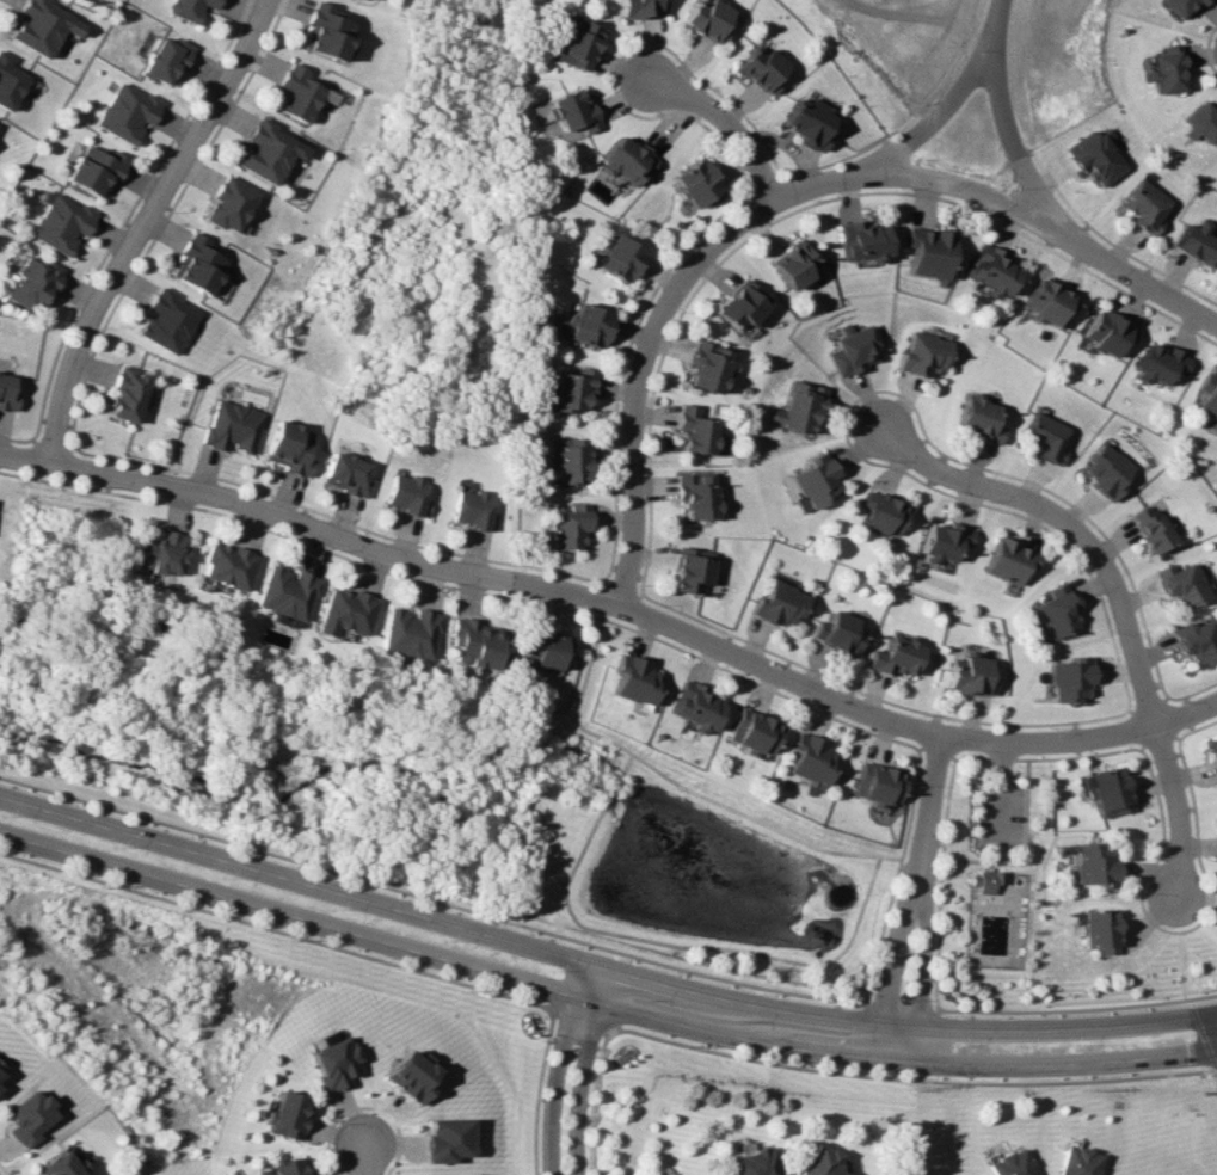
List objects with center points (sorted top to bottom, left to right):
building: (1182, 6)
building: (639, 7)
building: (188, 8)
building: (708, 19)
building: (42, 25)
building: (324, 31)
building: (574, 43)
building: (165, 61)
building: (760, 68)
building: (1166, 69)
building: (8, 82)
road: (952, 91)
building: (295, 93)
building: (568, 110)
building: (125, 112)
road: (997, 113)
building: (806, 122)
building: (1203, 122)
road: (729, 131)
building: (266, 152)
building: (1094, 156)
building: (625, 160)
building: (93, 168)
building: (695, 184)
building: (227, 204)
building: (1144, 207)
road: (1047, 222)
building: (60, 223)
road: (152, 229)
building: (860, 241)
building: (1198, 242)
building: (928, 251)
building: (196, 265)
building: (791, 265)
building: (990, 270)
building: (32, 283)
building: (1049, 302)
building: (739, 304)
road: (670, 312)
building: (164, 321)
building: (585, 325)
building: (1106, 332)
building: (854, 351)
building: (924, 353)
building: (1157, 363)
building: (706, 367)
building: (570, 389)
building: (6, 393)
building: (123, 394)
building: (1205, 395)
building: (800, 406)
building: (978, 419)
building: (228, 426)
building: (1046, 437)
building: (288, 447)
building: (567, 460)
building: (1105, 470)
building: (343, 473)
building: (816, 480)
building: (405, 494)
building: (696, 494)
building: (469, 507)
building: (880, 512)
building: (568, 527)
building: (1150, 528)
building: (942, 541)
building: (159, 553)
building: (1008, 560)
building: (225, 565)
building: (692, 570)
building: (1180, 583)
building: (283, 592)
road: (1125, 603)
building: (777, 604)
road: (617, 609)
building: (343, 611)
building: (1055, 611)
building: (406, 632)
building: (838, 632)
building: (1197, 640)
building: (471, 642)
building: (543, 647)
building: (895, 656)
building: (970, 675)
building: (632, 679)
building: (1069, 679)
building: (692, 707)
building: (749, 732)
building: (1213, 753)
building: (806, 757)
building: (874, 782)
building: (1105, 792)
road: (938, 795)
building: (1089, 865)
building: (979, 881)
road: (272, 930)
building: (1093, 930)
road: (887, 948)
road: (917, 953)
road: (600, 971)
road: (600, 1004)
road: (576, 1019)
building: (332, 1060)
building: (0, 1064)
road: (1212, 1068)
road: (572, 1071)
building: (0, 1074)
building: (410, 1075)
road: (905, 1078)
road: (537, 1090)
road: (1212, 1091)
road: (594, 1100)
building: (284, 1114)
building: (29, 1118)
road: (327, 1130)
road: (397, 1133)
building: (447, 1139)
road: (363, 1161)
building: (1072, 1161)
building: (749, 1162)
building: (816, 1162)
building: (1007, 1163)
building: (61, 1164)
building: (287, 1167)
road: (4, 1169)
building: (684, 1174)

